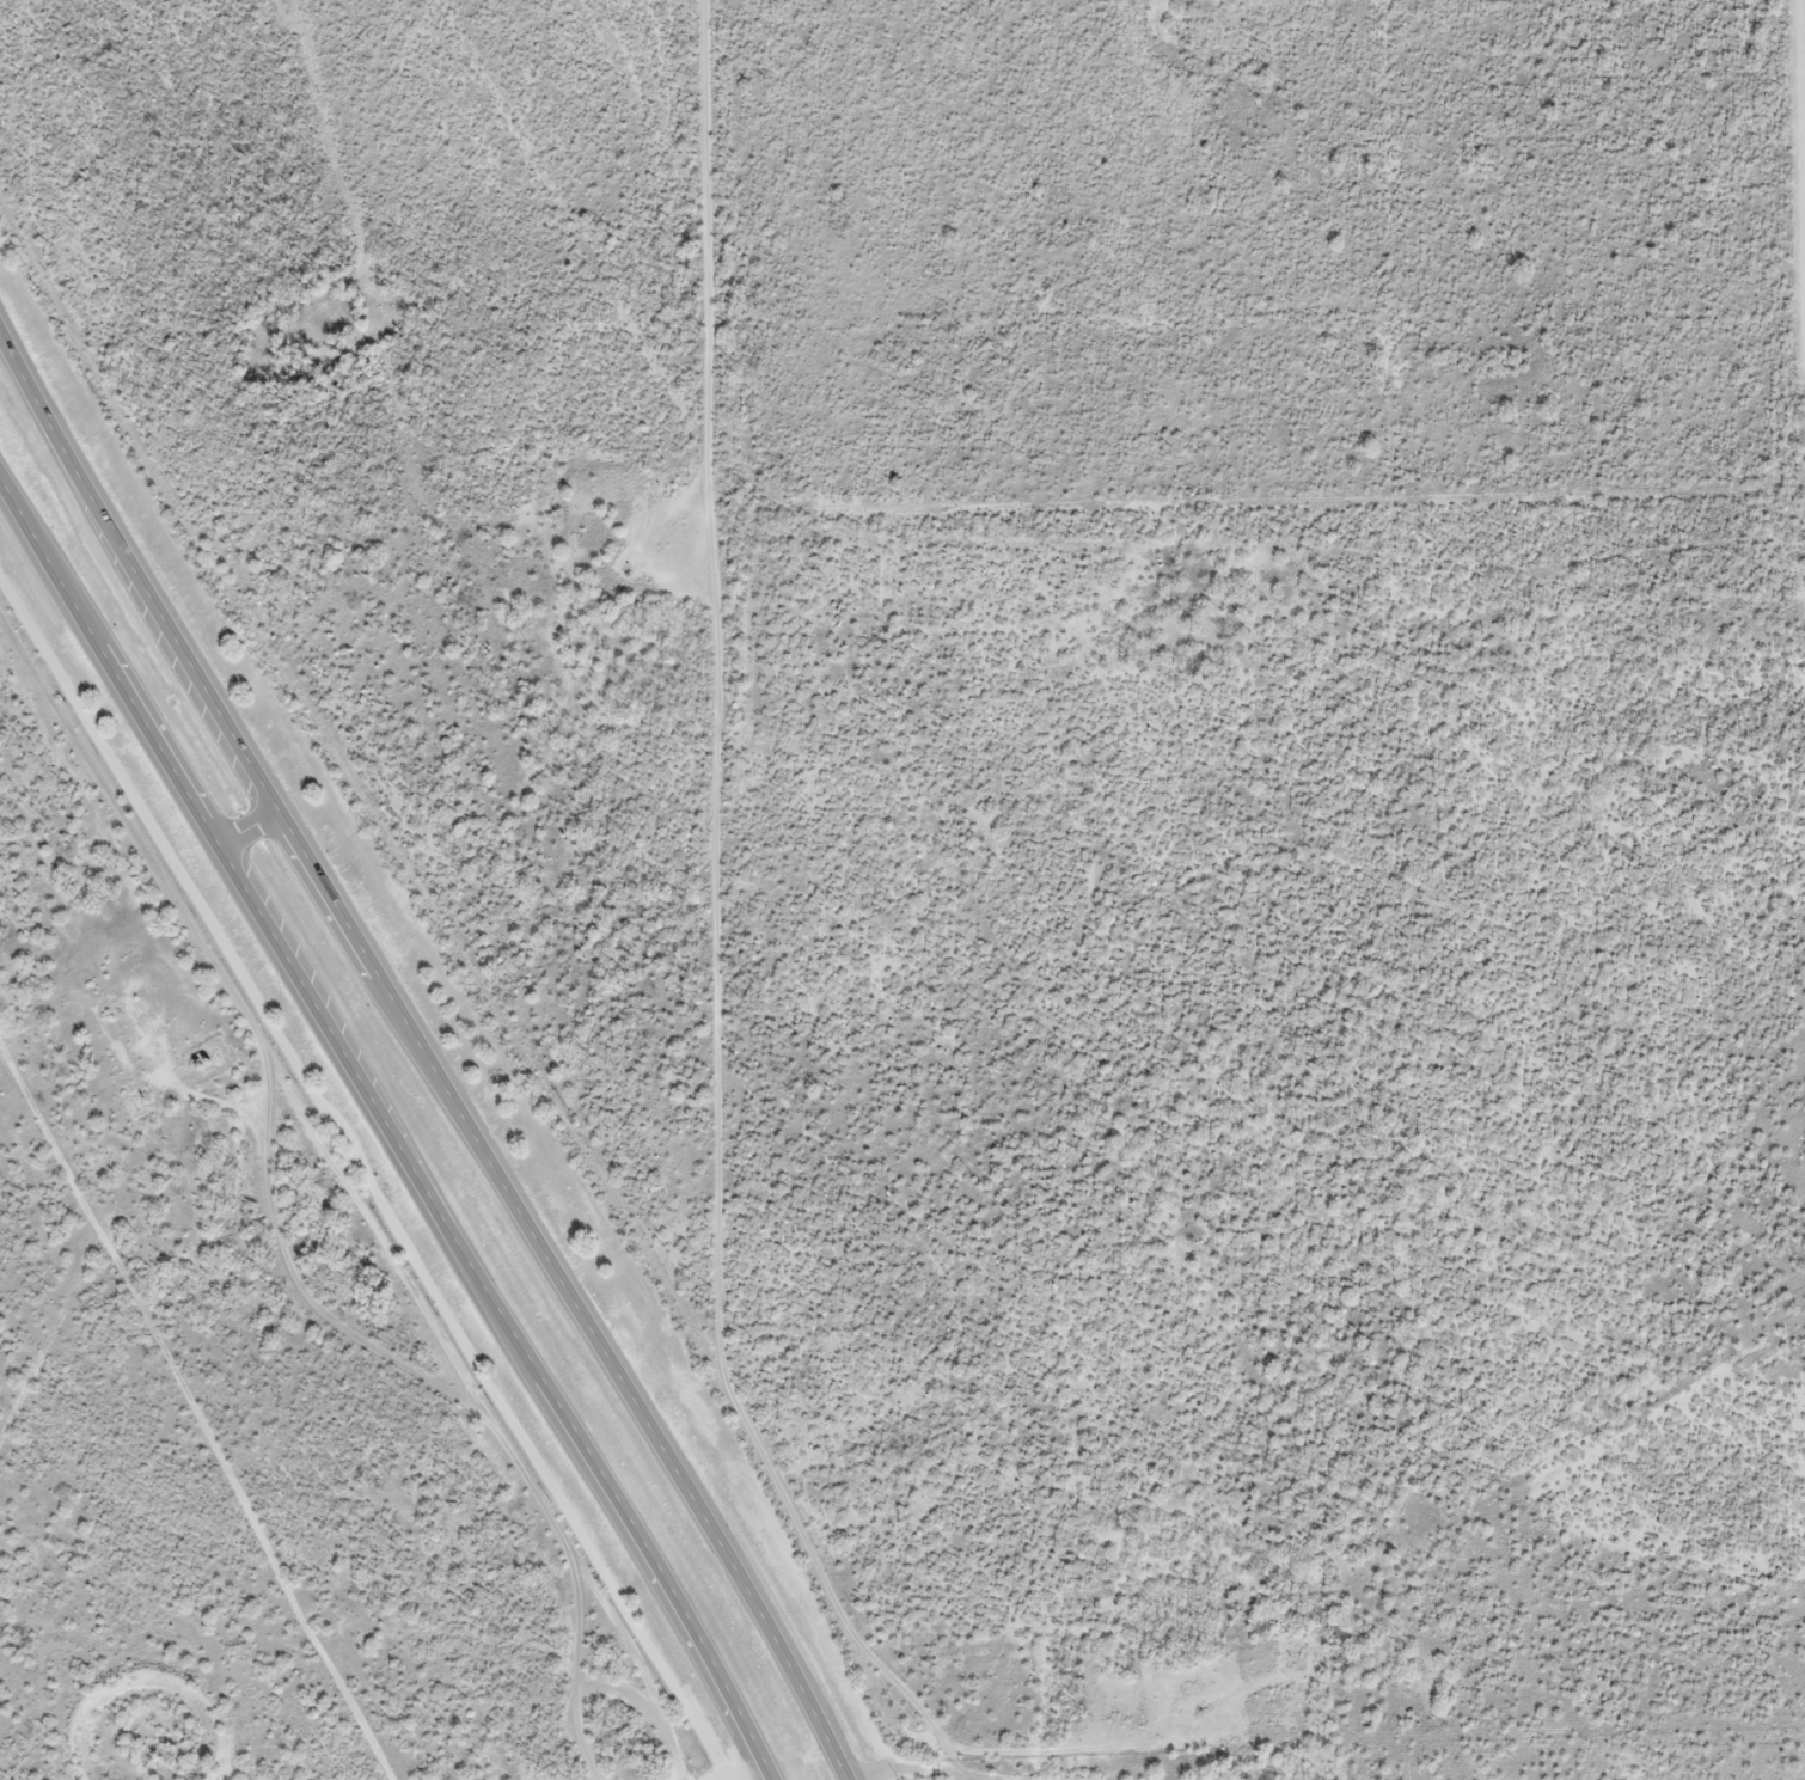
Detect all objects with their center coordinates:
road: (429, 1050)
road: (383, 1140)

